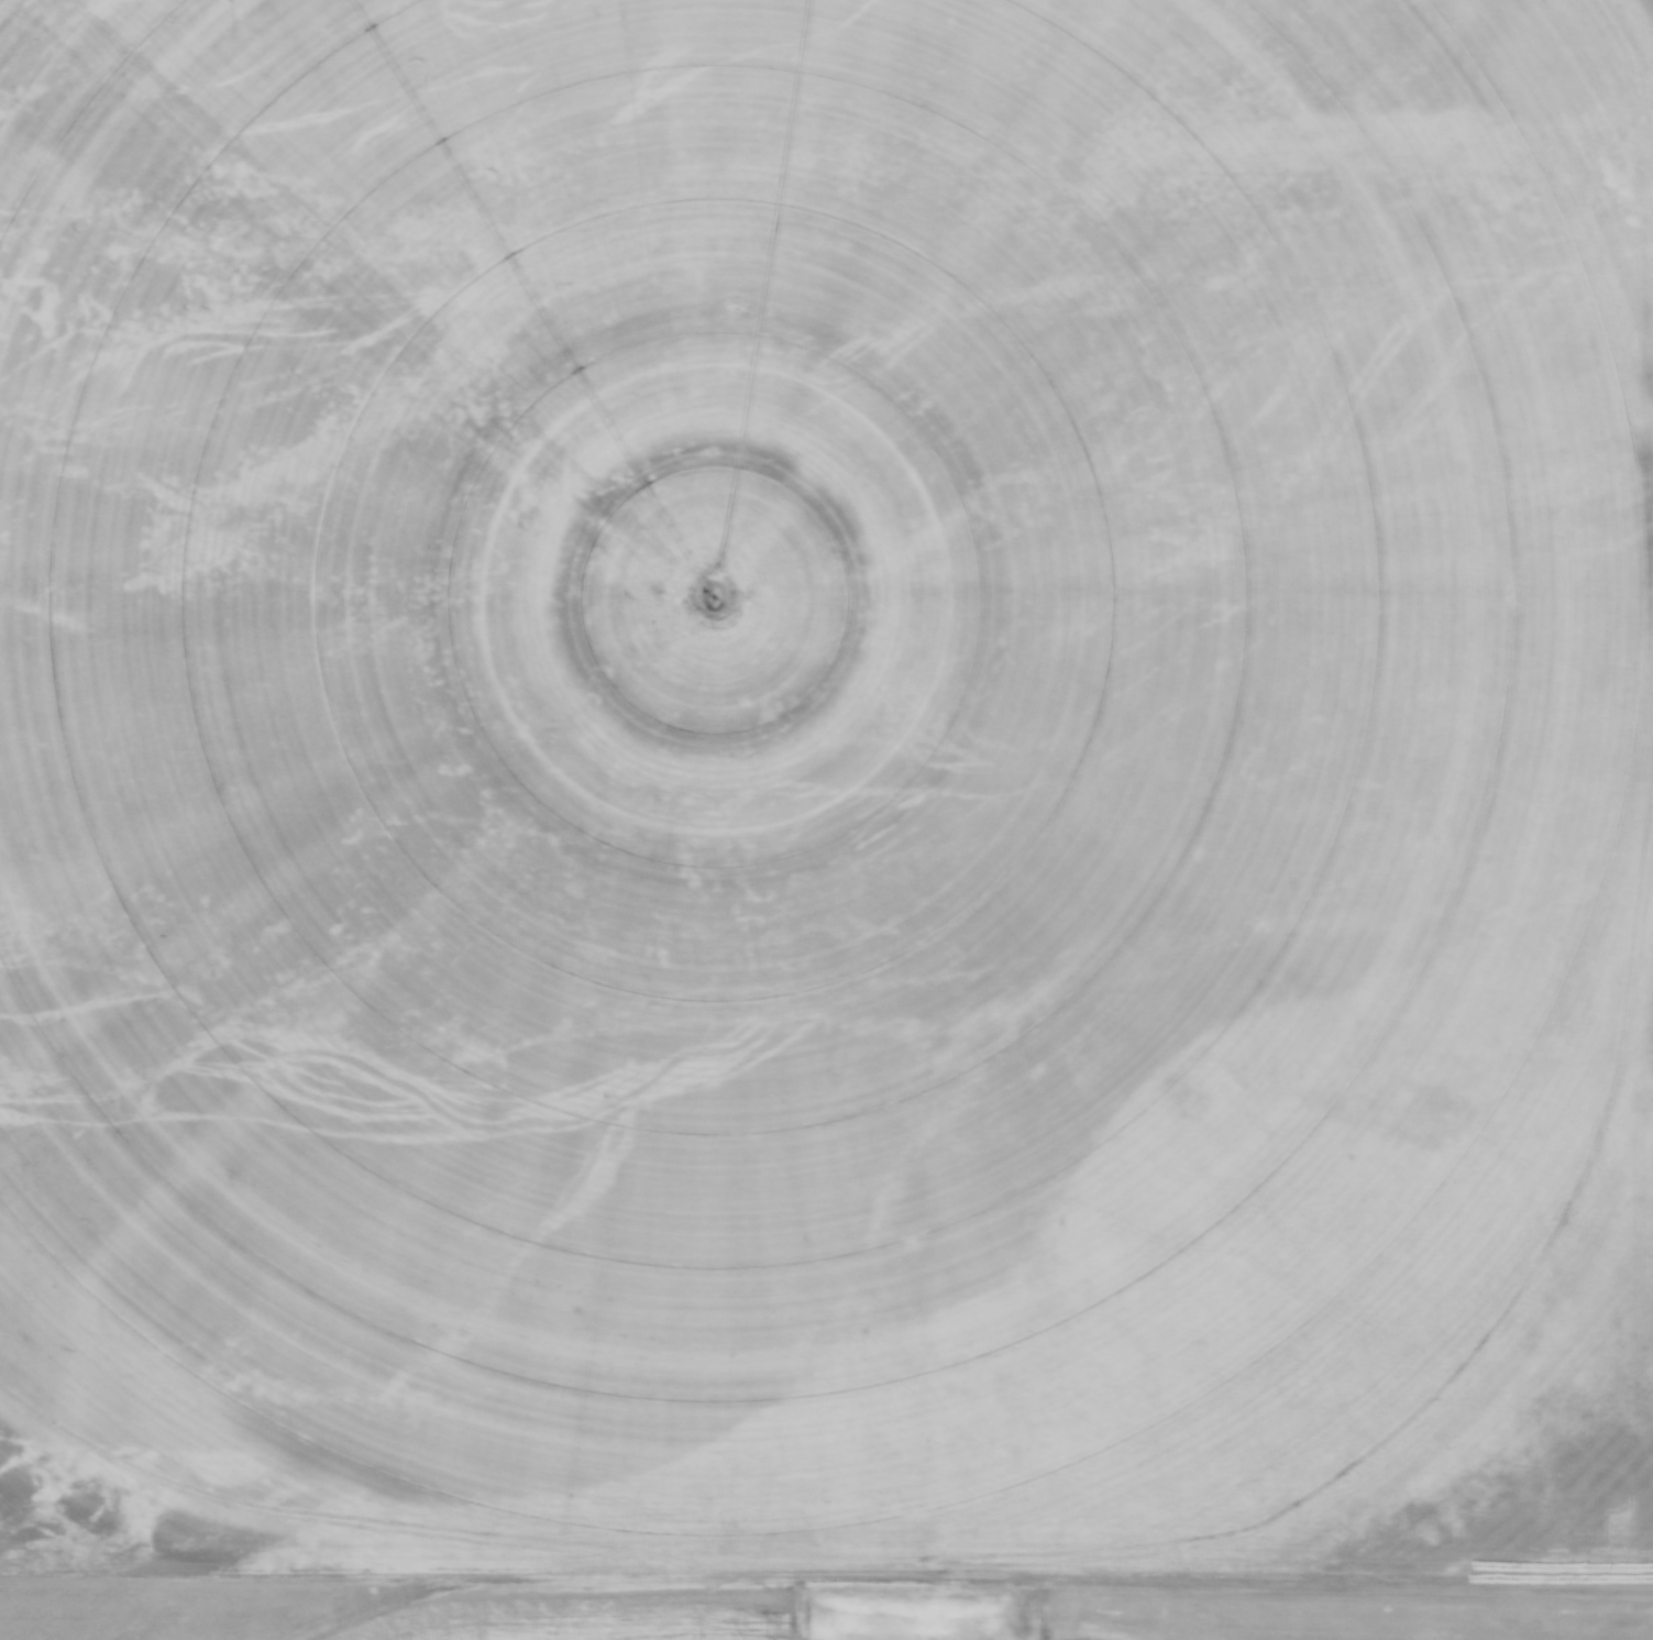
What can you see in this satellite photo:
crop: (787, 724)
crop: (390, 1614)
crop: (1333, 1616)

